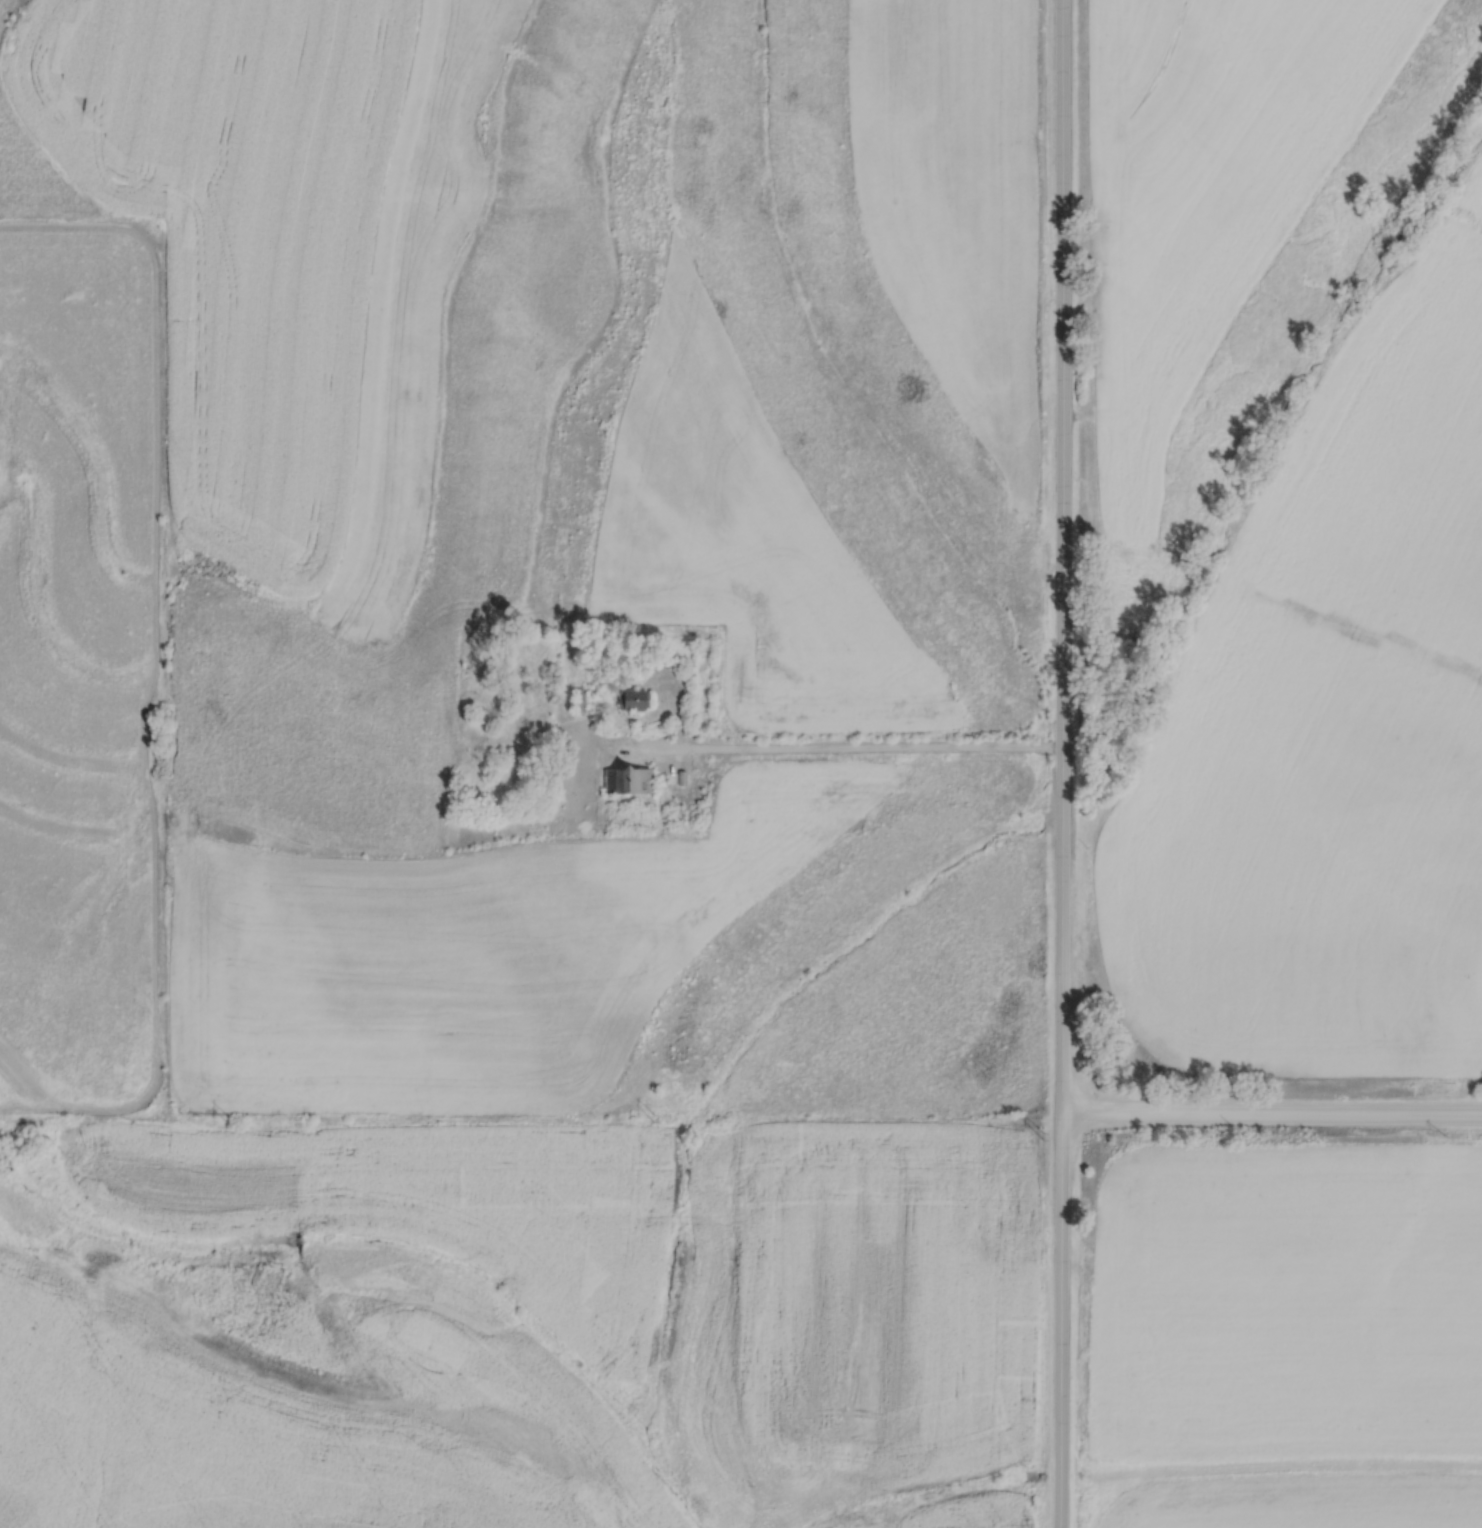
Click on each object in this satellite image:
building: (580, 699)
building: (634, 699)
road: (833, 747)
road: (1047, 748)
road: (1057, 748)
road: (1064, 764)
building: (628, 779)
road: (1273, 1112)
power tower: (654, 1116)
power tower: (227, 1121)
power tower: (1045, 1136)

